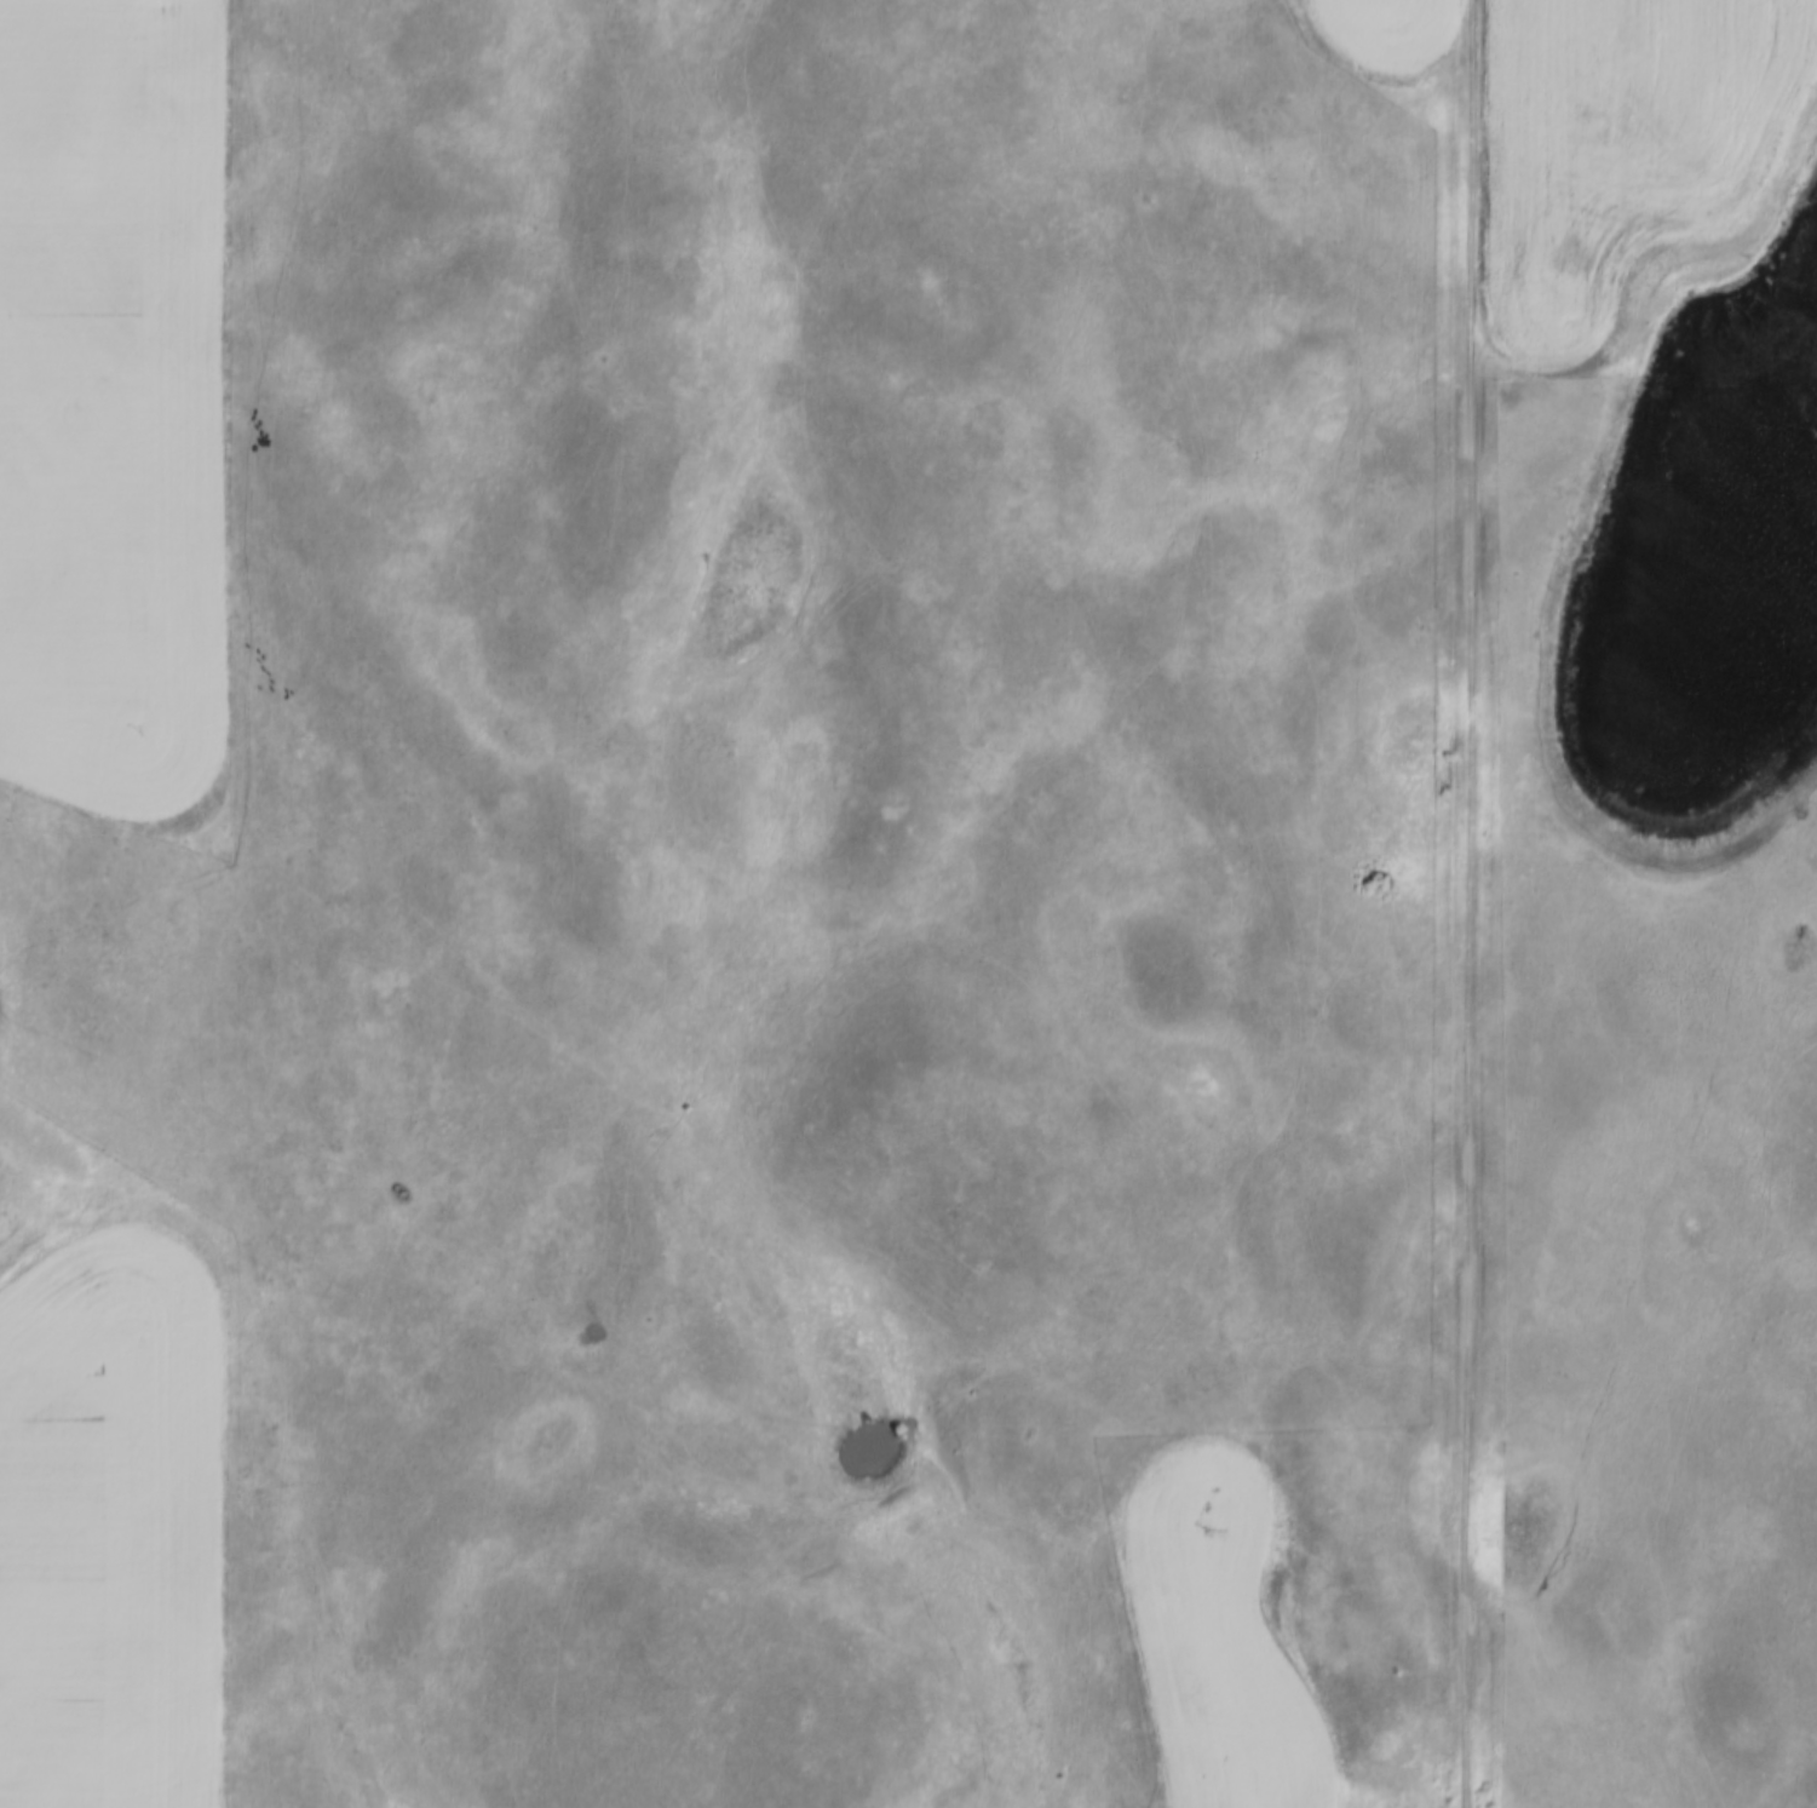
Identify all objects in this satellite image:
road: (1468, 903)

